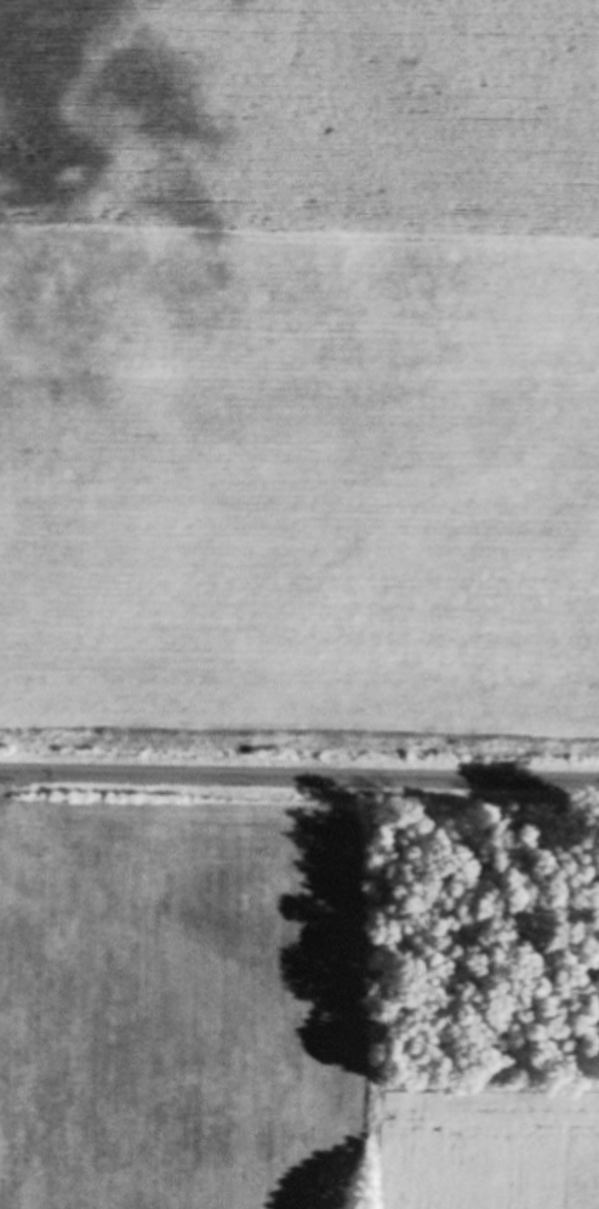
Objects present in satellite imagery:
road: (299, 772)

